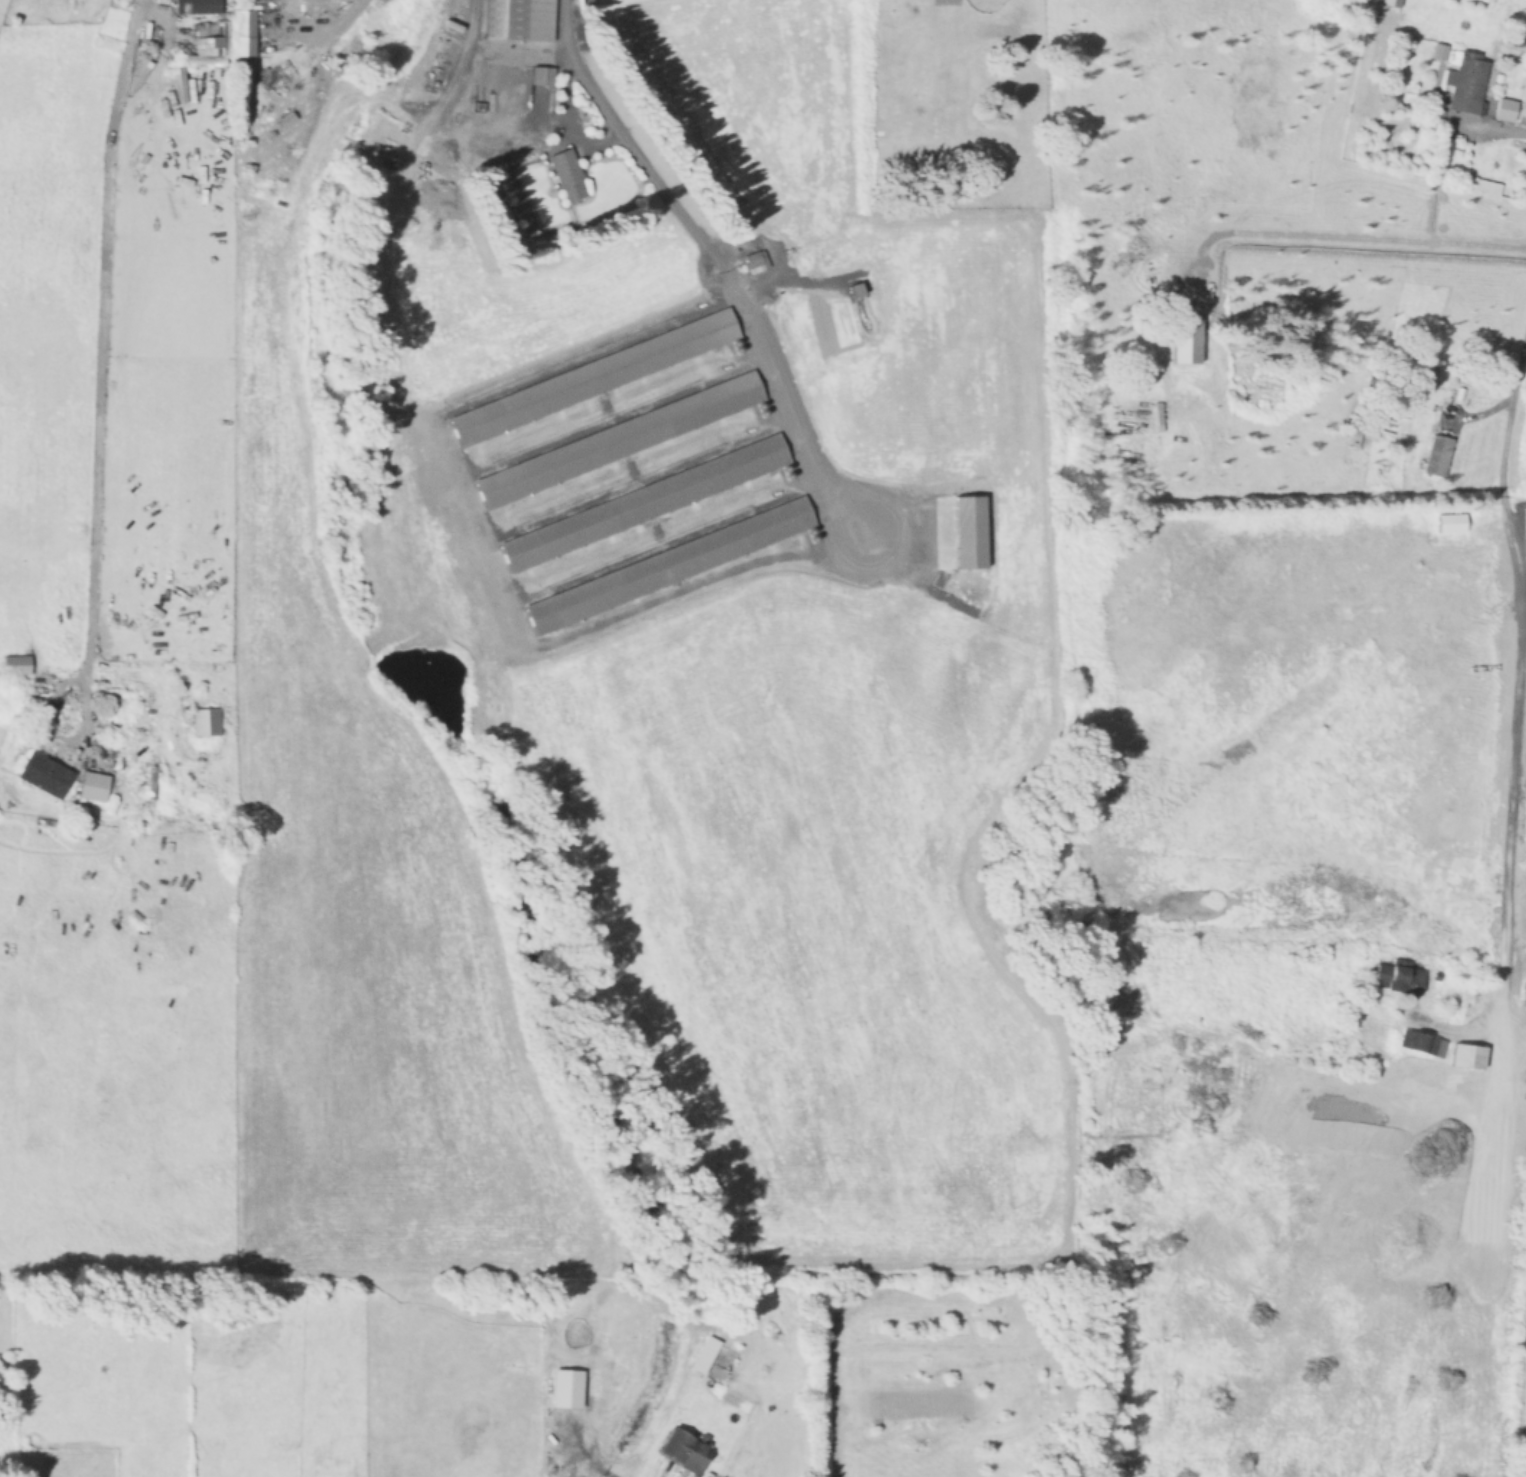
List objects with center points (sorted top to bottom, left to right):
building: (1385, 3)
building: (1, 5)
building: (194, 6)
building: (516, 19)
building: (242, 32)
road: (320, 36)
building: (204, 45)
building: (539, 76)
building: (274, 77)
building: (1465, 83)
building: (1503, 108)
road: (1494, 126)
building: (564, 174)
building: (1480, 185)
building: (753, 260)
building: (851, 289)
road: (98, 371)
building: (591, 375)
building: (616, 439)
building: (639, 503)
building: (1447, 523)
building: (966, 532)
building: (667, 563)
road: (632, 612)
road: (1523, 643)
building: (13, 665)
building: (203, 721)
crop: (666, 730)
crop: (109, 735)
building: (42, 774)
building: (90, 786)
building: (1396, 977)
building: (1466, 1053)
building: (701, 1355)
building: (681, 1450)

